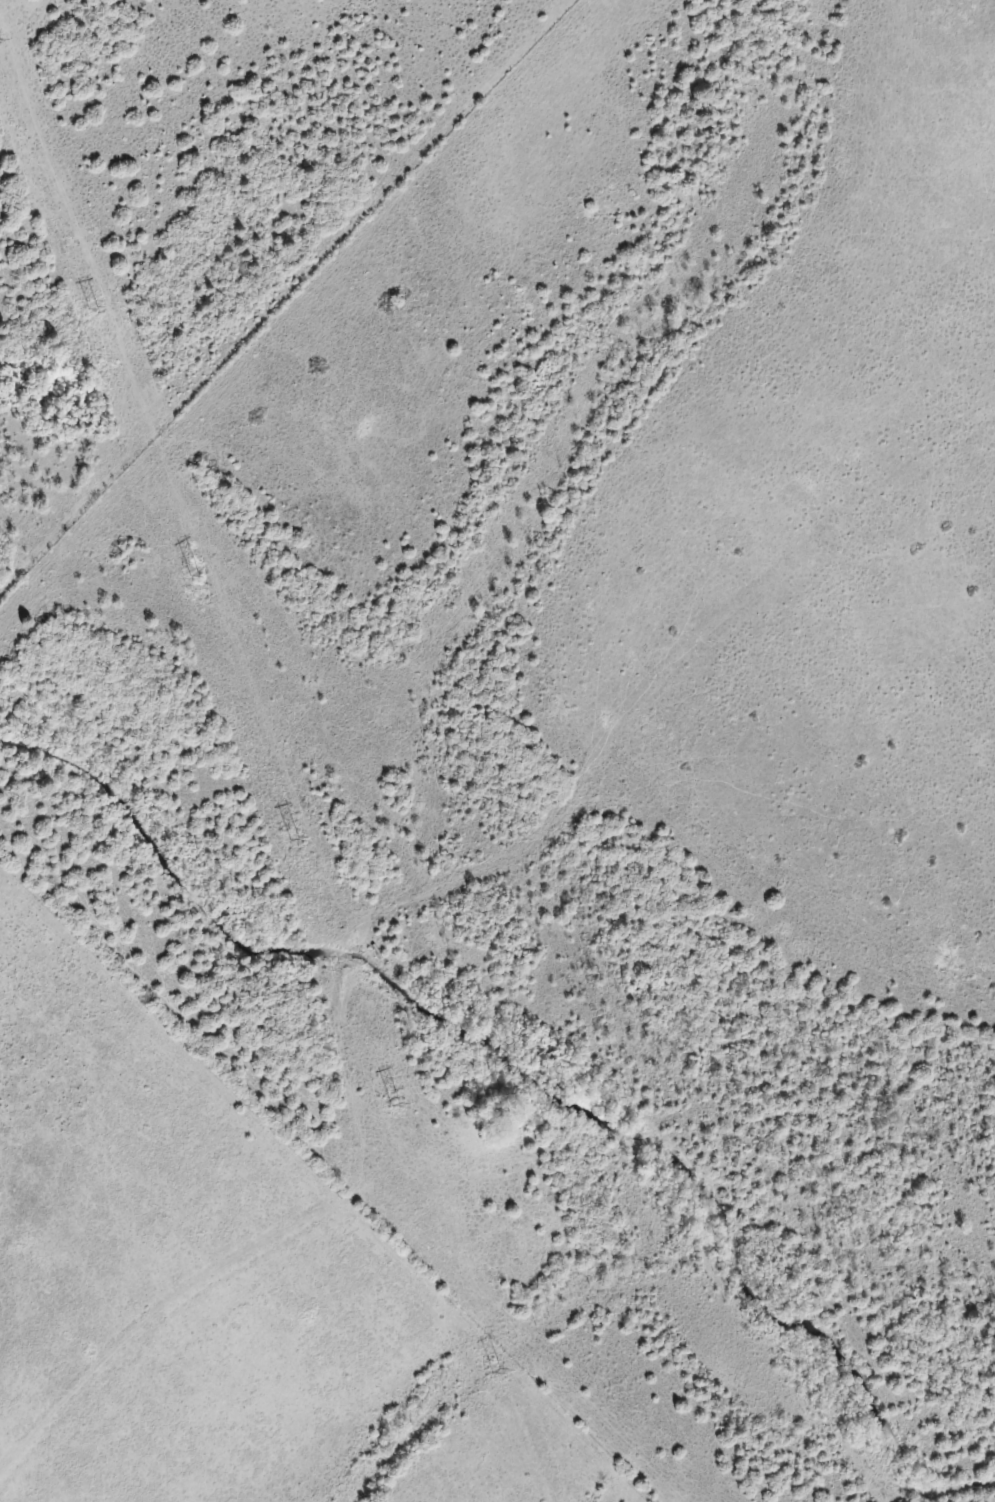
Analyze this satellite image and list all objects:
power tower: (88, 307)
power tower: (189, 574)
power tower: (285, 839)
power tower: (385, 1109)
power tower: (489, 1372)

